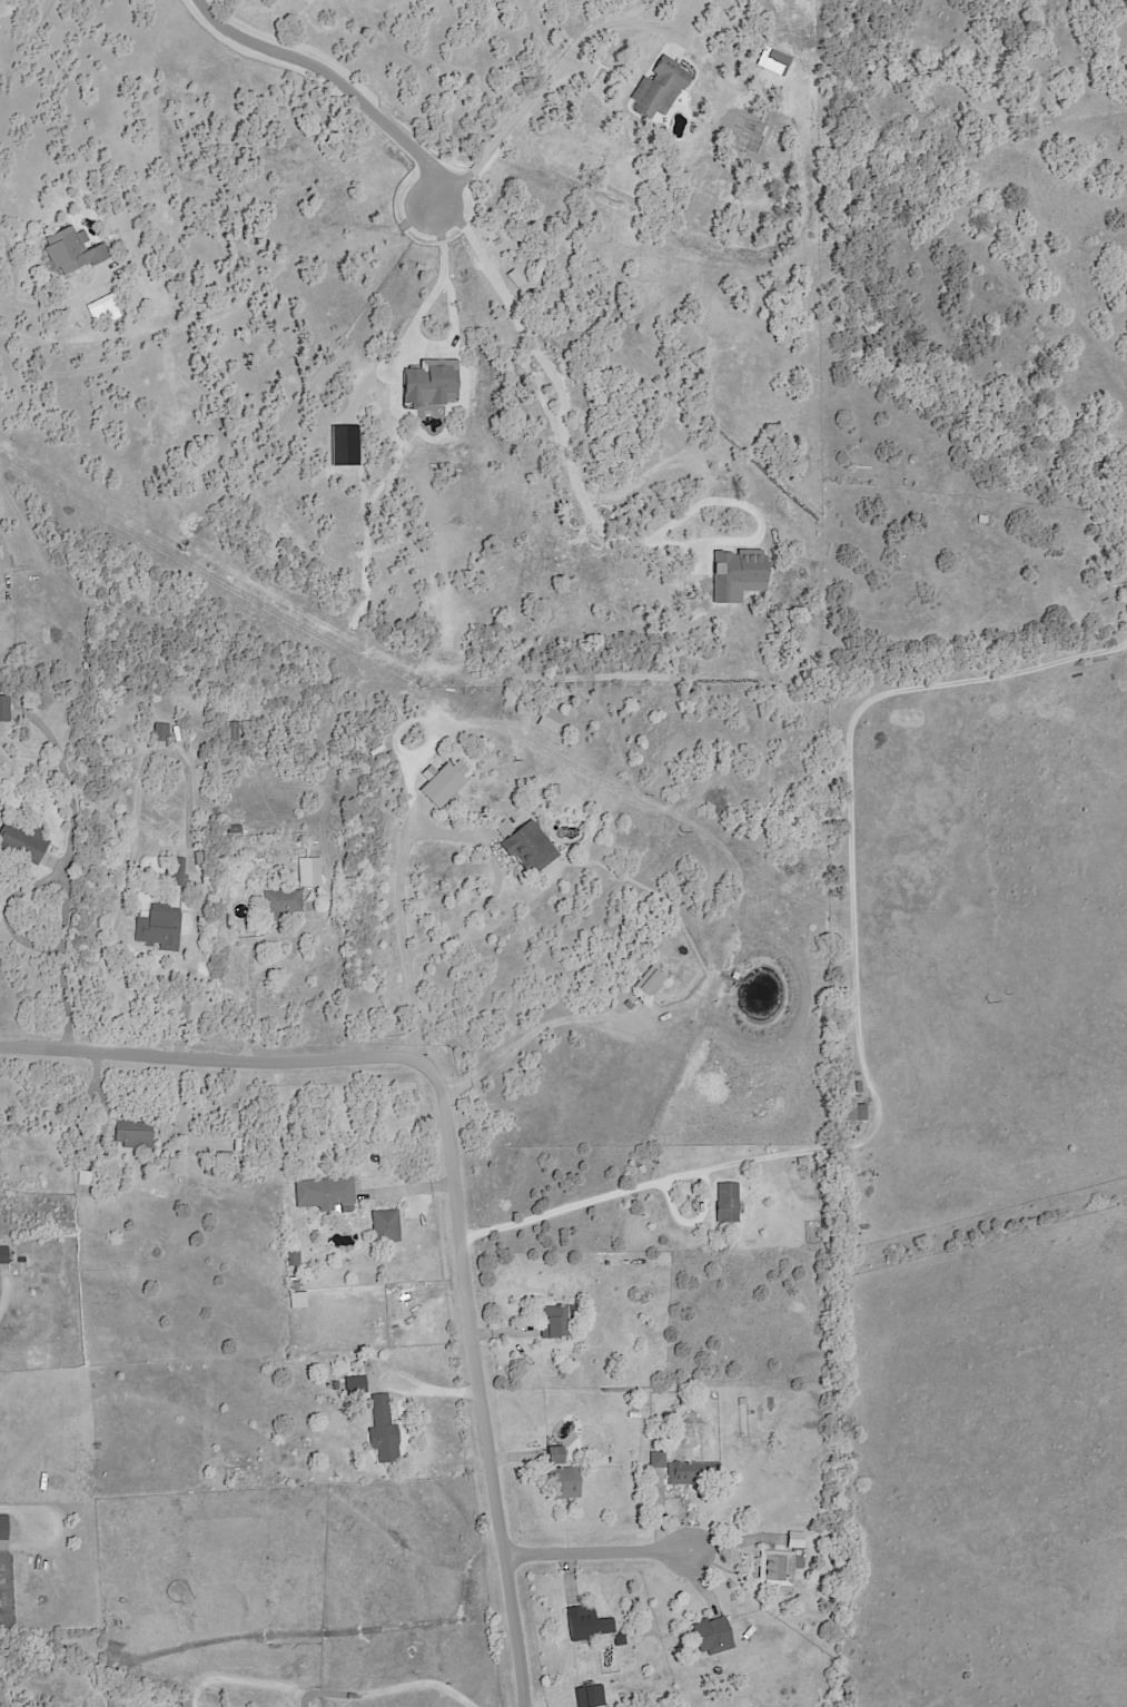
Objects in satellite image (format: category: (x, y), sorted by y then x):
building: (775, 61)
road: (340, 81)
building: (659, 87)
road: (547, 102)
building: (749, 134)
building: (617, 217)
building: (75, 251)
building: (747, 267)
road: (13, 268)
road: (436, 279)
road: (53, 299)
road: (565, 411)
building: (1096, 474)
building: (982, 519)
road: (1, 556)
power tower: (210, 570)
building: (1107, 579)
power tower: (421, 687)
building: (4, 710)
building: (16, 717)
building: (233, 727)
building: (161, 731)
building: (178, 734)
road: (167, 744)
building: (443, 787)
building: (556, 789)
building: (1, 805)
road: (414, 828)
building: (233, 829)
power tower: (681, 831)
building: (26, 839)
building: (525, 842)
building: (310, 872)
building: (176, 874)
road: (67, 877)
building: (281, 902)
building: (159, 927)
building: (250, 928)
road: (279, 961)
building: (652, 981)
road: (861, 1000)
power tower: (988, 1003)
road: (532, 1030)
building: (859, 1087)
building: (854, 1112)
building: (135, 1134)
building: (227, 1155)
building: (819, 1163)
road: (452, 1170)
building: (85, 1177)
building: (325, 1194)
building: (728, 1203)
building: (384, 1225)
building: (4, 1255)
building: (293, 1259)
road: (2, 1291)
building: (555, 1320)
building: (336, 1384)
building: (356, 1385)
building: (743, 1401)
building: (771, 1402)
building: (751, 1411)
building: (384, 1430)
building: (655, 1458)
building: (693, 1473)
building: (563, 1477)
road: (10, 1506)
building: (6, 1533)
building: (794, 1539)
road: (611, 1549)
building: (775, 1567)
building: (587, 1625)
building: (713, 1636)
building: (620, 1639)
road: (335, 1696)
building: (589, 1696)
building: (189, 1704)

